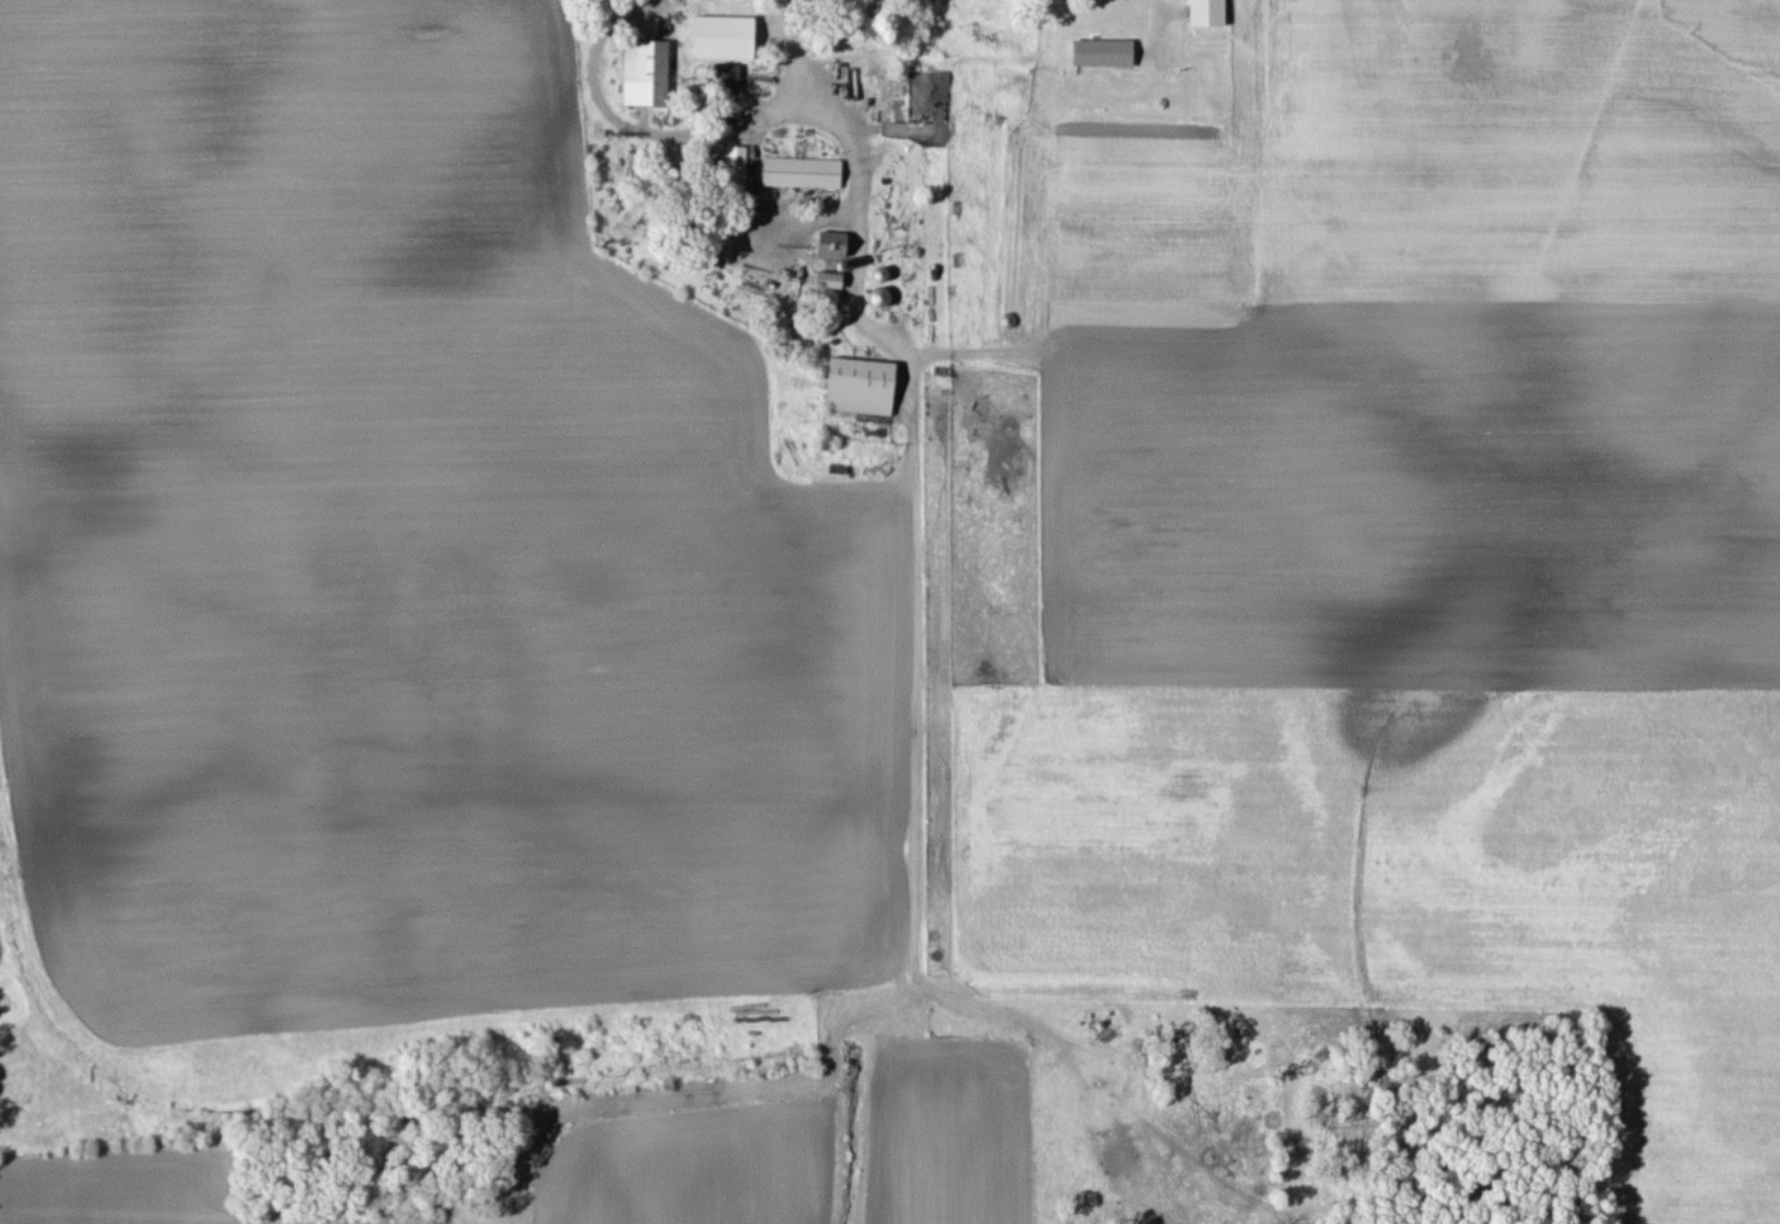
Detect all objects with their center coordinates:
building: (1206, 12)
road: (1151, 23)
building: (723, 36)
building: (1102, 52)
building: (645, 71)
building: (724, 77)
building: (735, 166)
building: (801, 172)
road: (849, 188)
building: (831, 242)
building: (828, 278)
building: (859, 384)

